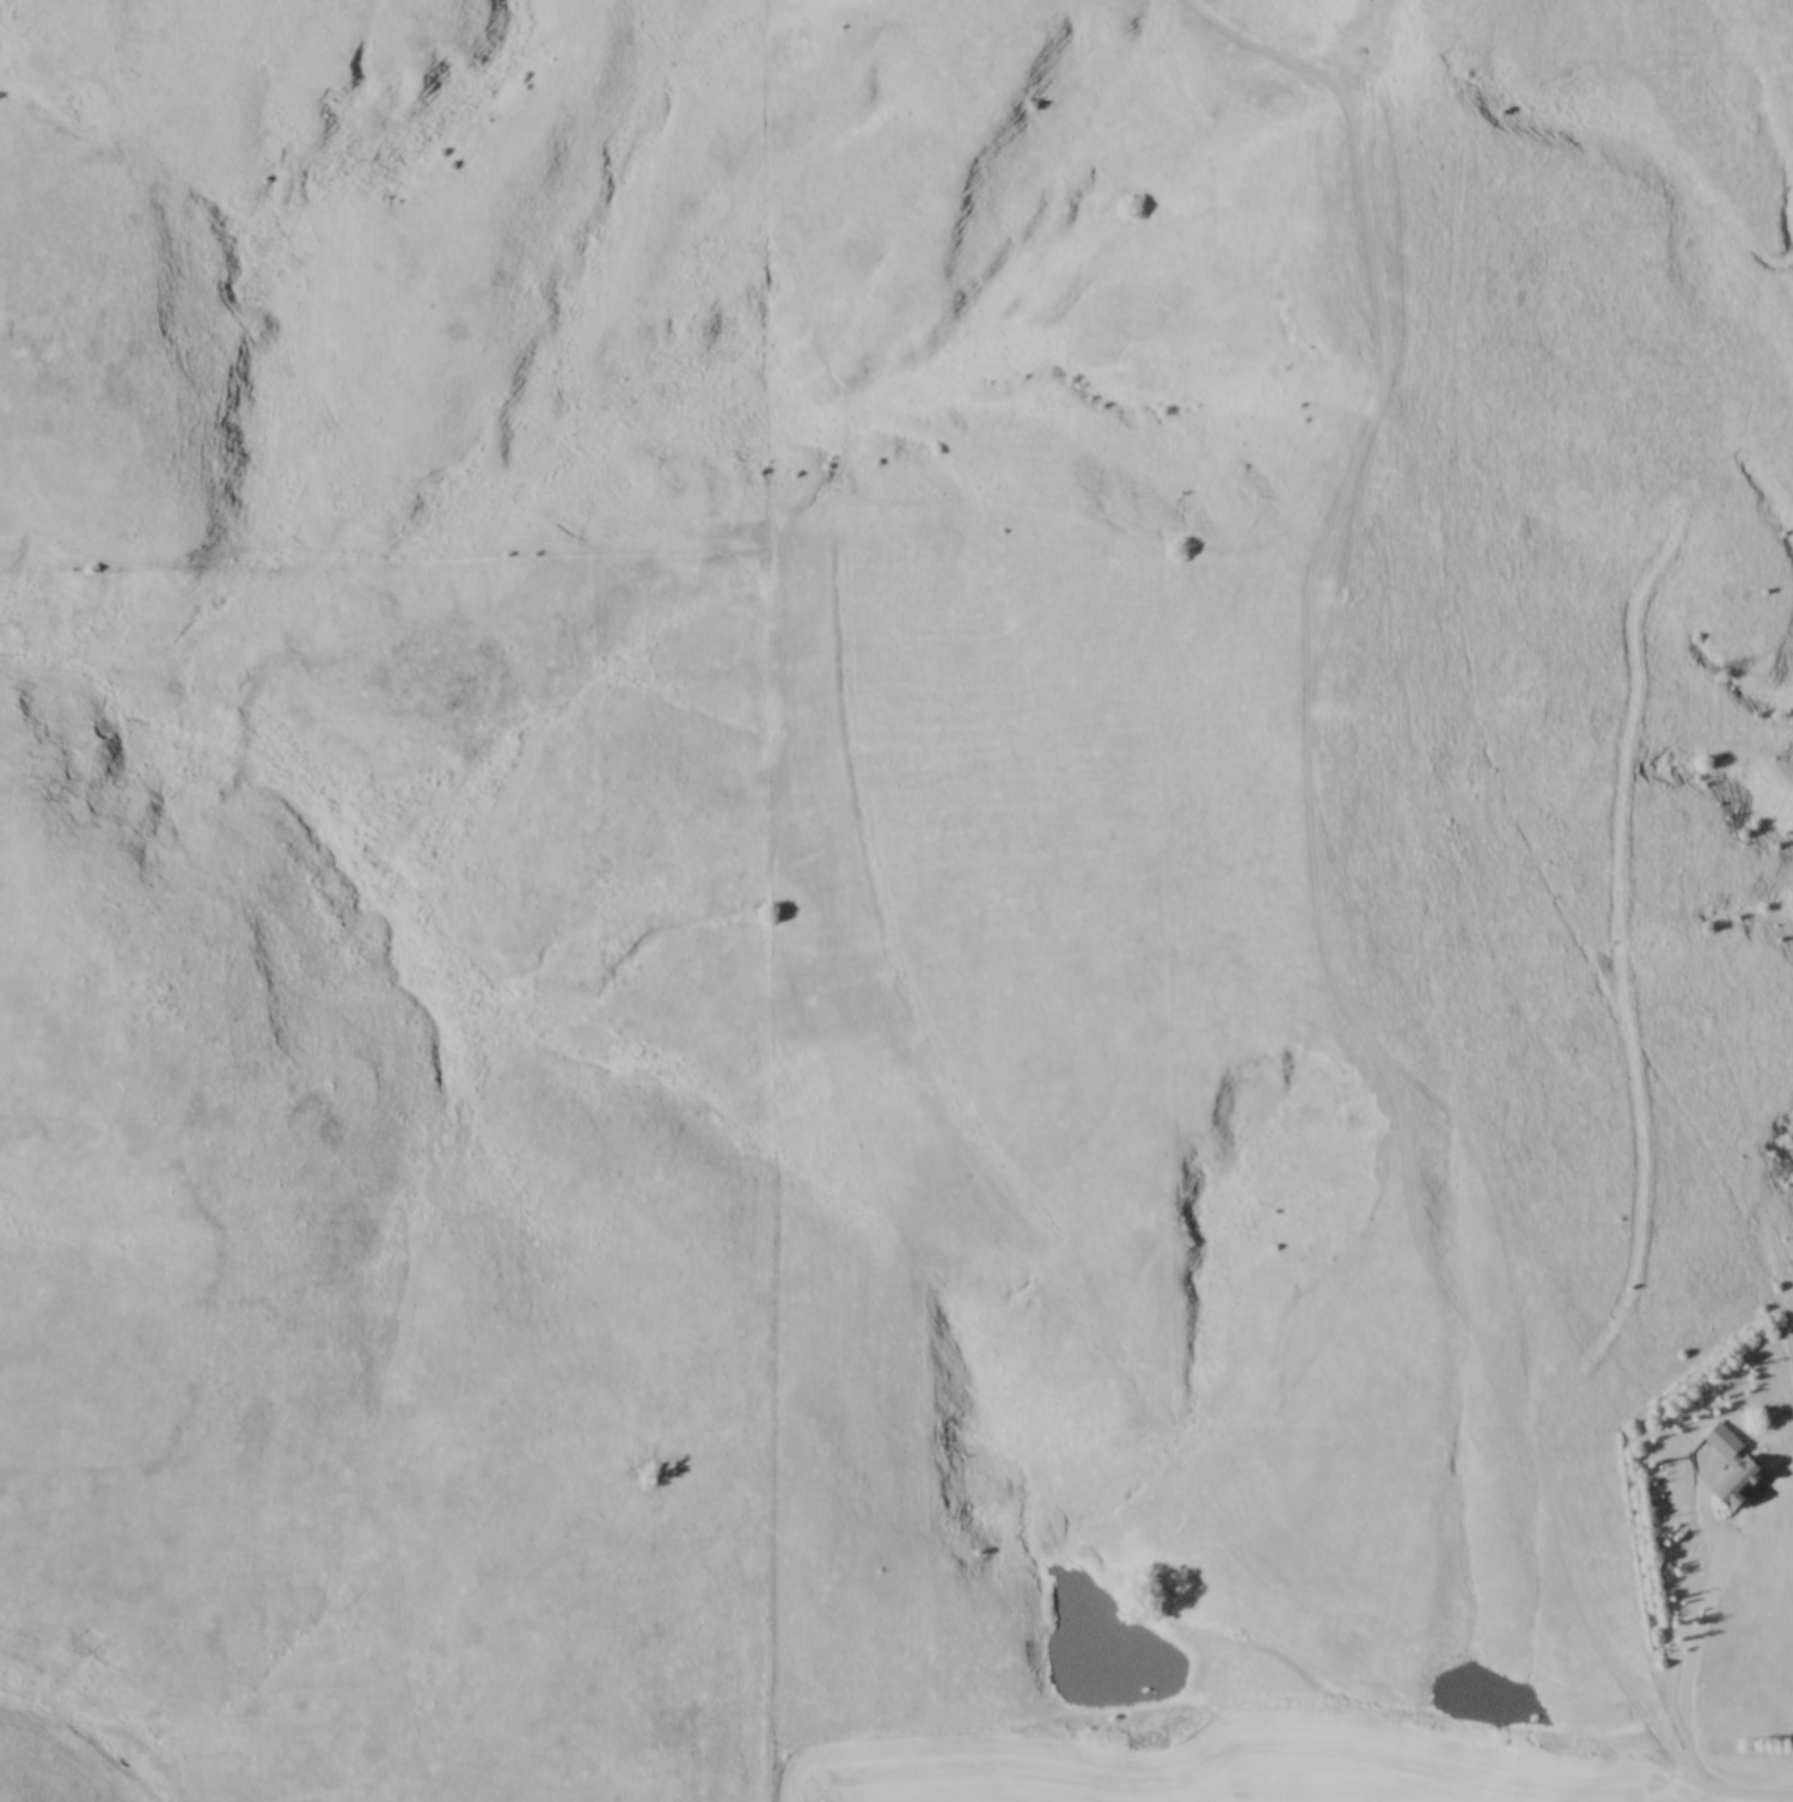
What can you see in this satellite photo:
building: (1733, 1471)
road: (1688, 1698)

